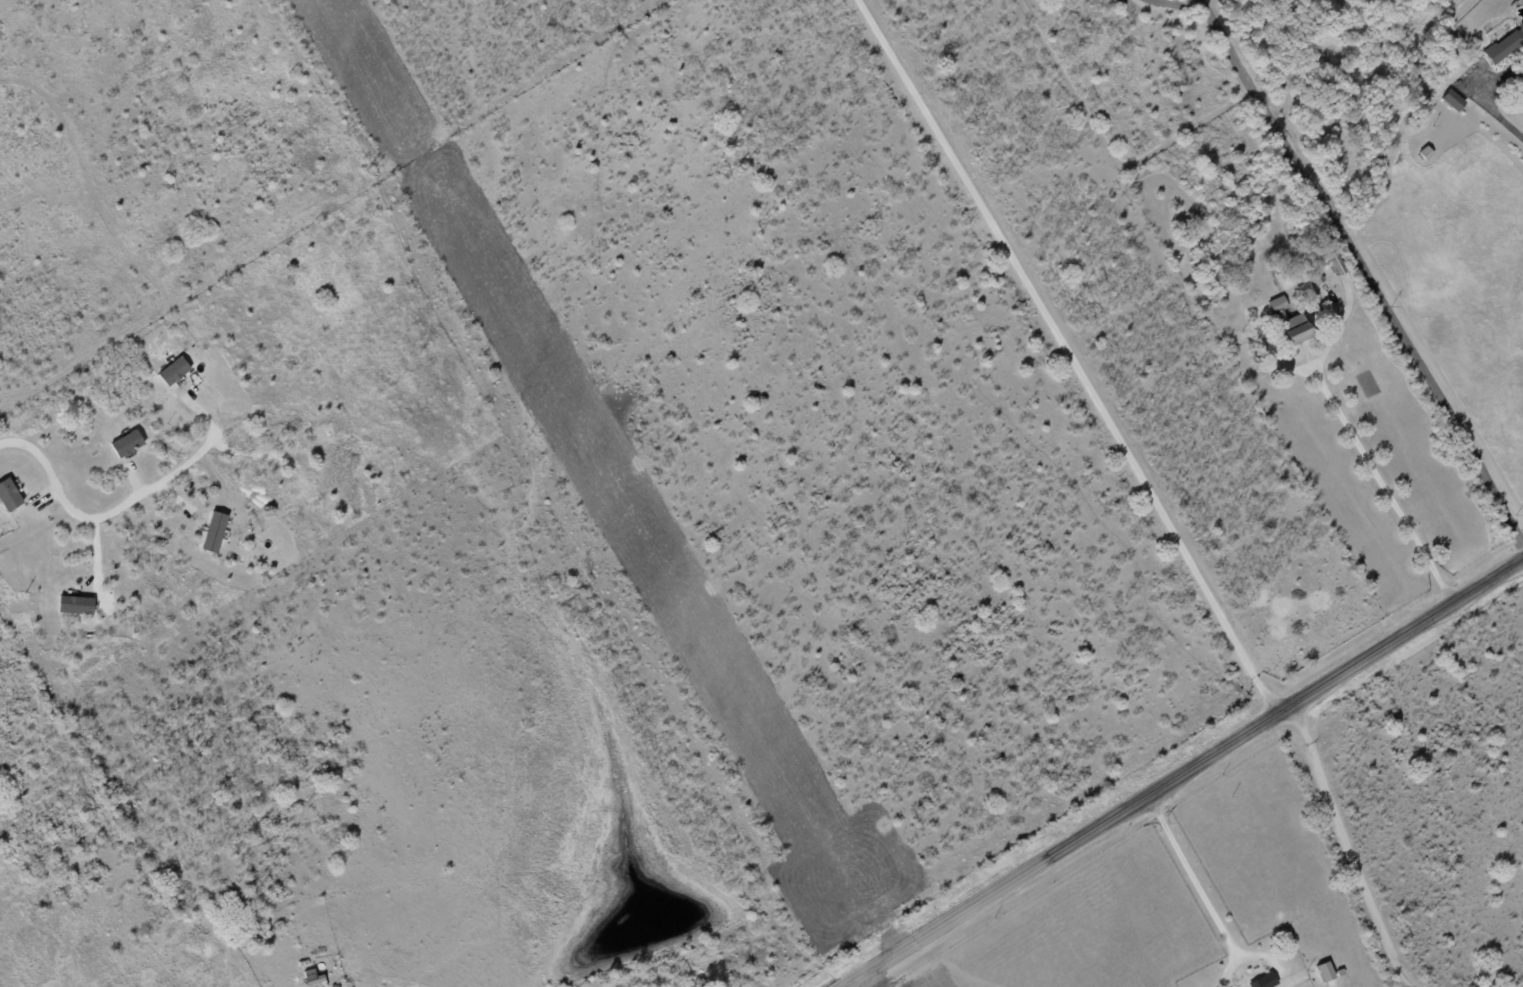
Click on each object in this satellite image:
building: (1505, 46)
building: (1452, 99)
road: (1488, 101)
building: (1334, 263)
building: (1314, 277)
road: (1357, 279)
building: (1290, 322)
road: (1073, 351)
building: (173, 370)
building: (126, 442)
road: (1381, 484)
building: (9, 494)
road: (101, 516)
building: (214, 531)
building: (76, 604)
road: (1183, 772)
road: (1358, 849)
road: (1182, 880)
building: (1325, 972)
building: (311, 976)
building: (1264, 981)

